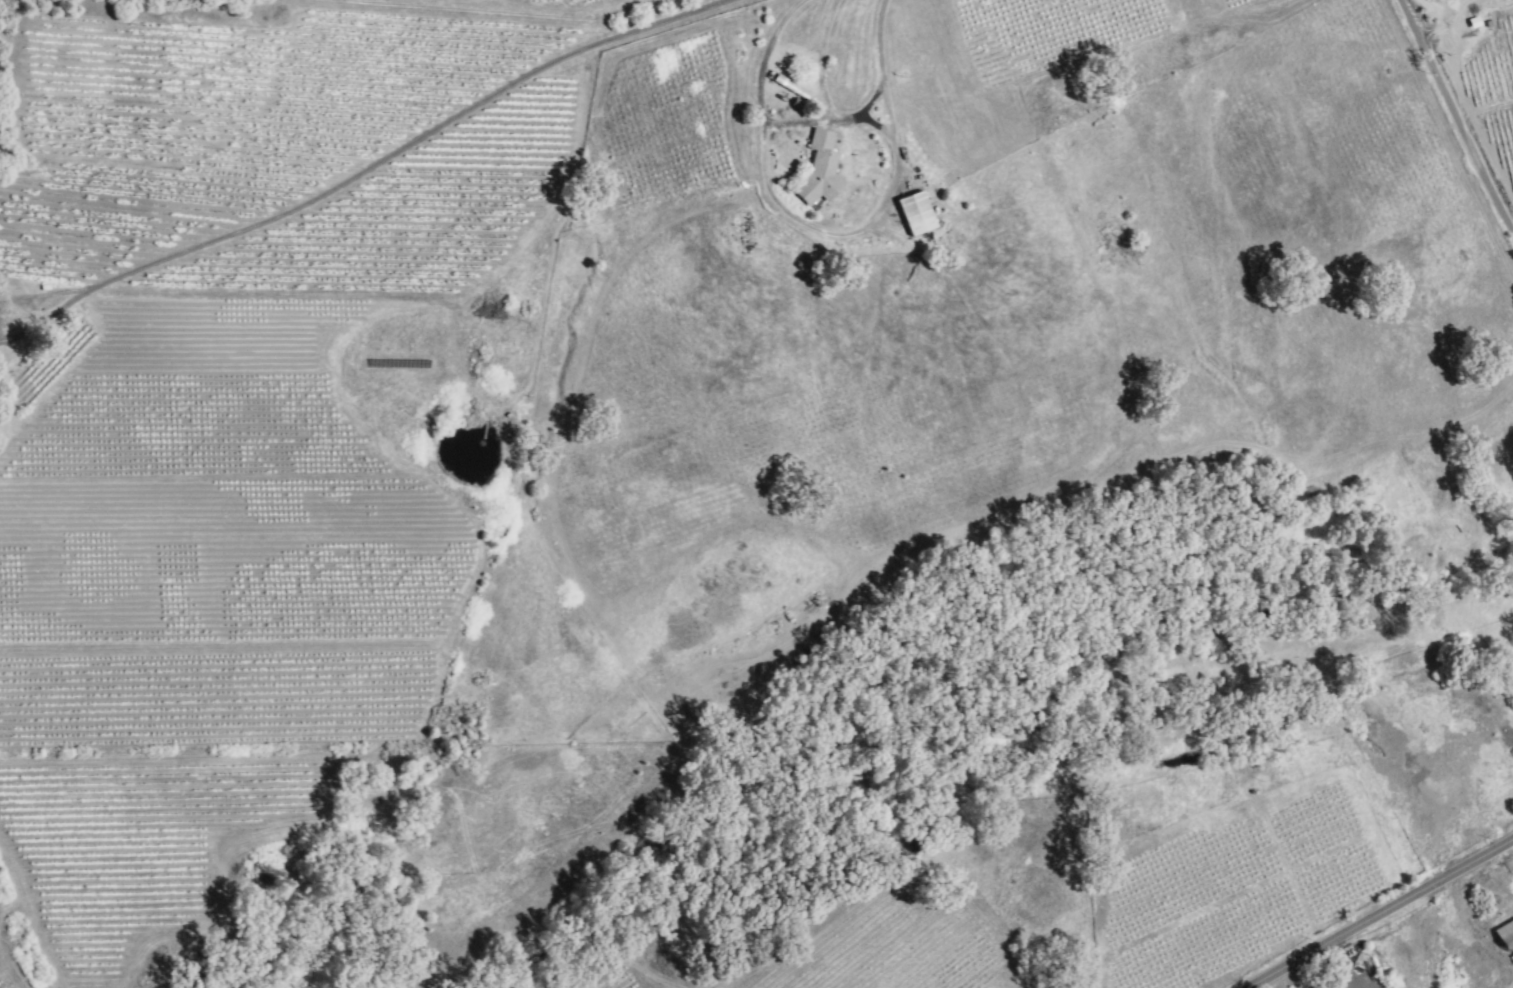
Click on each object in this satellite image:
road: (818, 59)
building: (788, 87)
road: (1453, 116)
road: (829, 119)
road: (384, 150)
building: (816, 171)
building: (912, 215)
road: (823, 234)
road: (23, 327)
road: (1381, 913)
building: (1504, 933)
road: (1343, 963)

